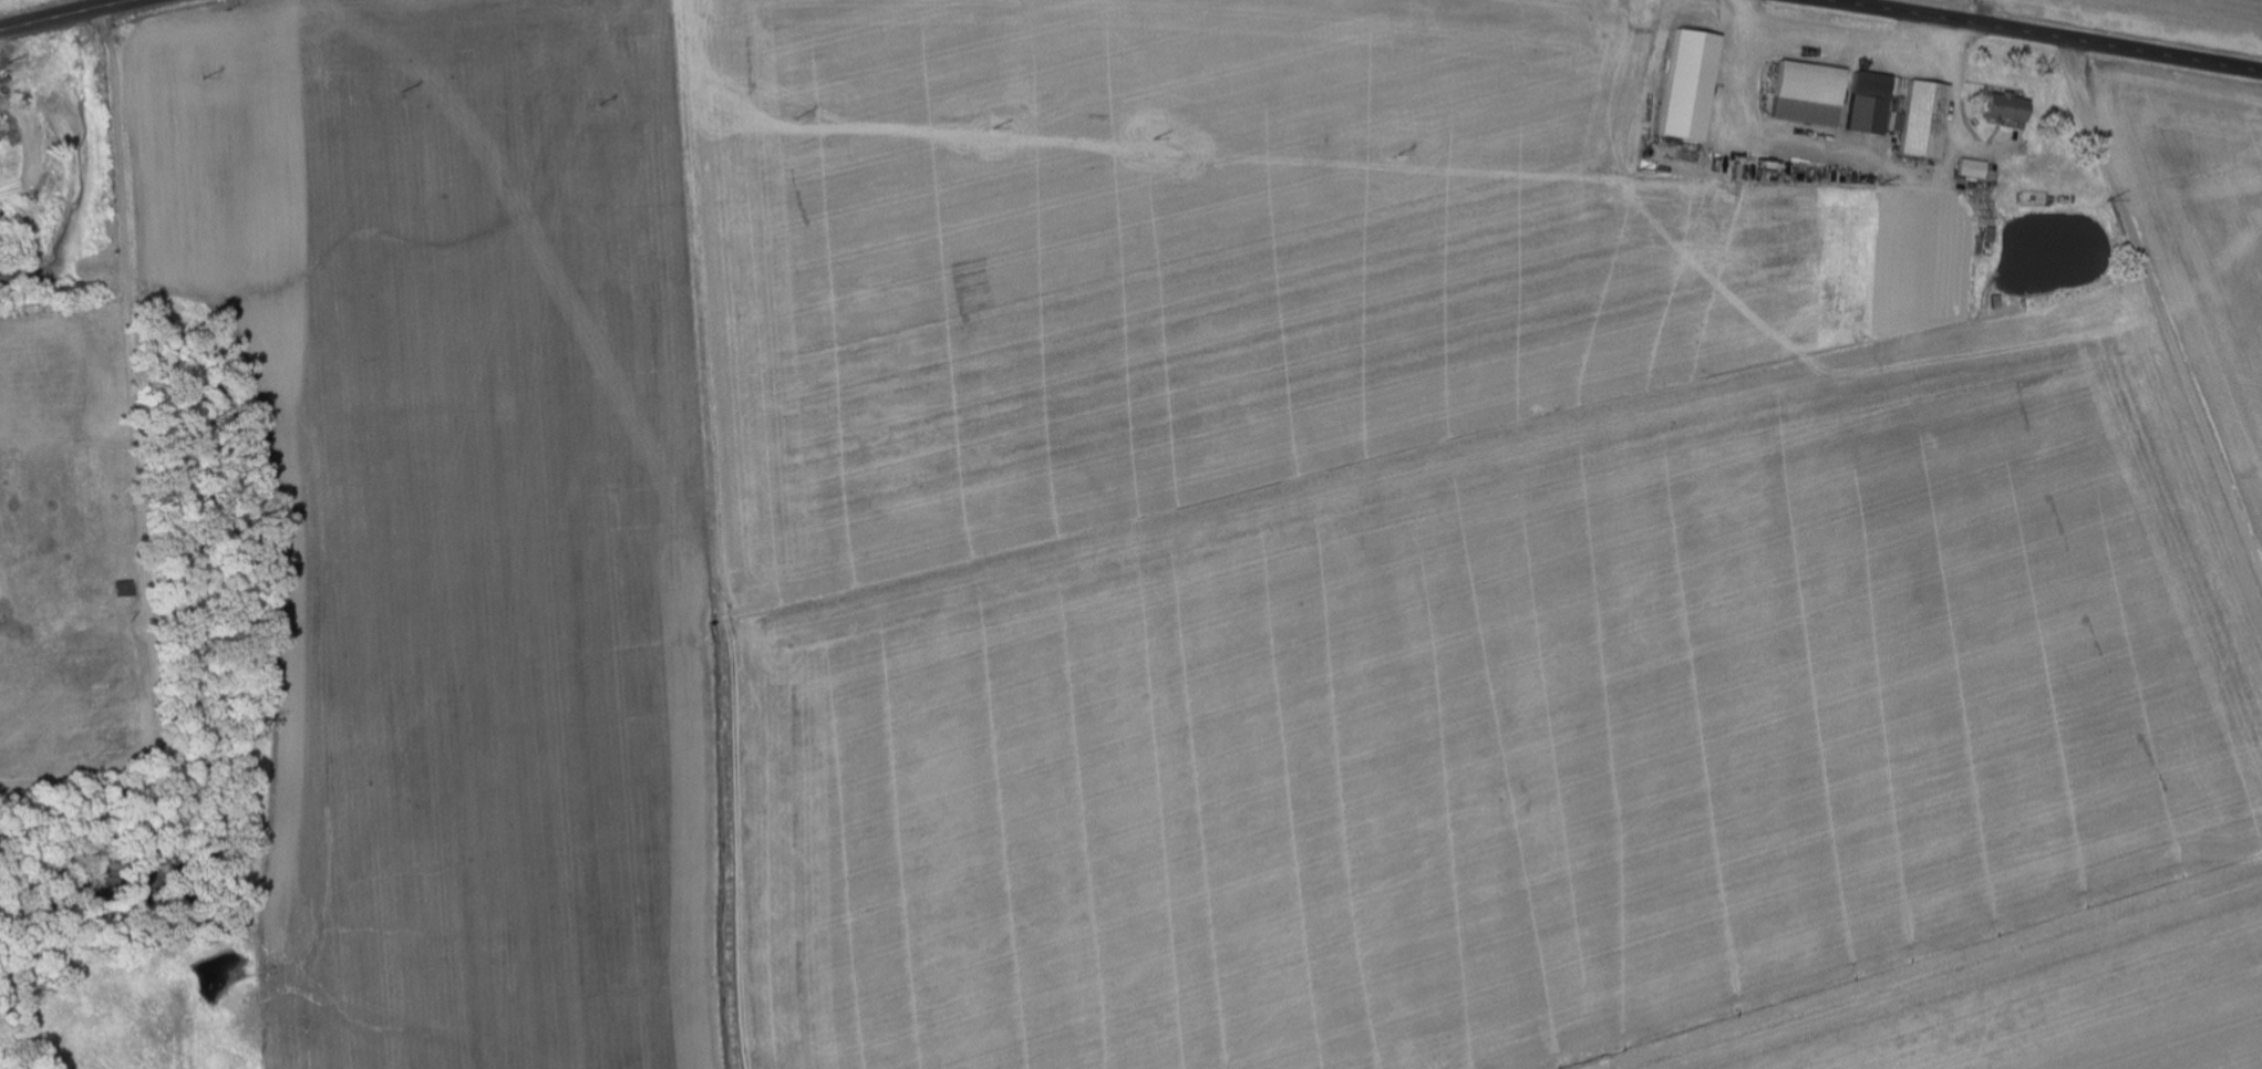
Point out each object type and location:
road: (75, 17)
road: (2036, 34)
building: (1685, 85)
building: (1807, 94)
building: (1870, 102)
building: (2006, 107)
building: (1923, 121)
building: (1971, 169)
road: (2160, 302)

